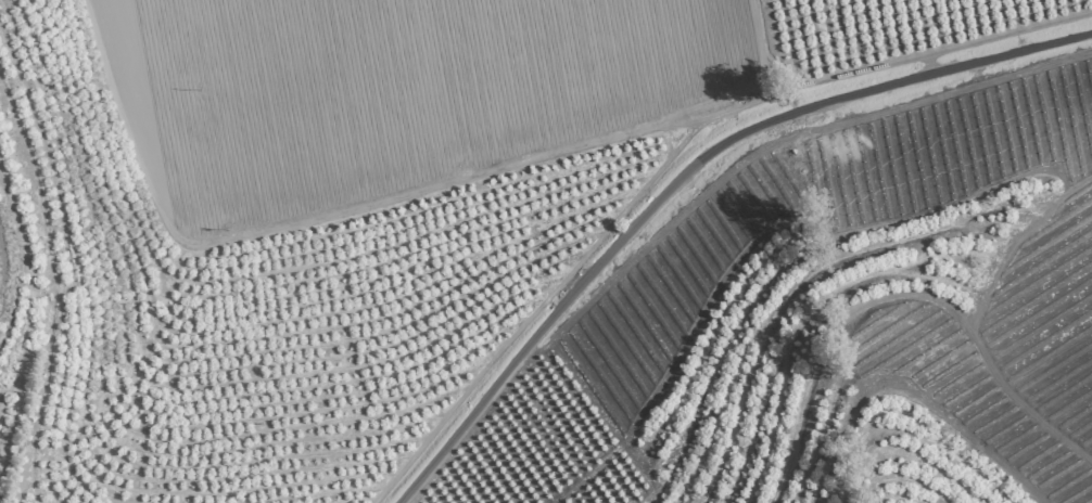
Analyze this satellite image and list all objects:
road: (678, 169)
crop: (546, 251)

